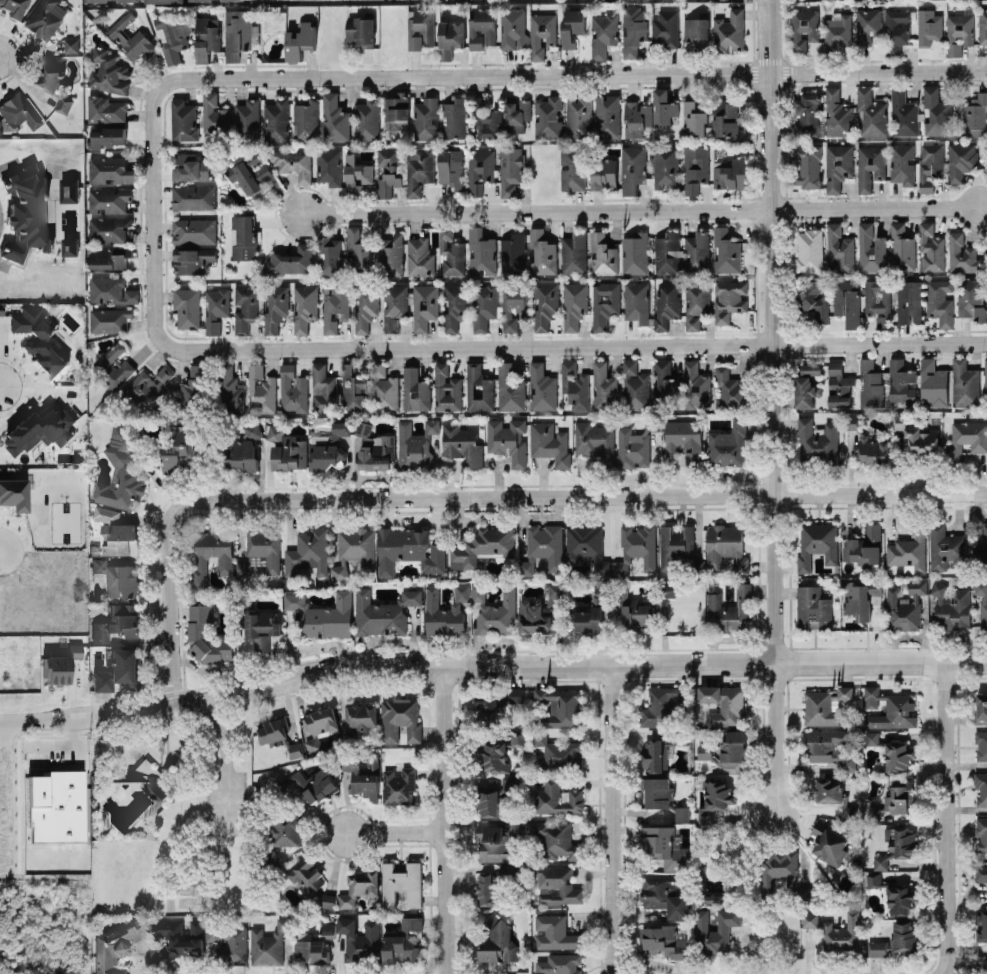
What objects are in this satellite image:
building: (109, 0)
building: (163, 0)
building: (223, 0)
building: (14, 7)
building: (46, 17)
building: (867, 24)
building: (983, 25)
building: (419, 26)
building: (928, 26)
building: (482, 27)
building: (512, 27)
building: (570, 27)
building: (694, 27)
building: (632, 28)
building: (665, 28)
building: (803, 28)
building: (730, 29)
building: (896, 29)
building: (360, 30)
building: (838, 31)
building: (959, 31)
building: (542, 32)
building: (603, 33)
building: (237, 34)
building: (450, 36)
building: (131, 37)
building: (171, 39)
building: (205, 39)
building: (299, 40)
building: (70, 44)
building: (108, 72)
road: (575, 74)
building: (52, 84)
building: (663, 106)
building: (104, 108)
building: (19, 111)
building: (395, 112)
building: (515, 112)
building: (936, 112)
building: (870, 113)
building: (903, 113)
building: (214, 114)
building: (806, 114)
building: (837, 114)
building: (578, 115)
building: (975, 115)
building: (607, 116)
building: (724, 116)
building: (547, 117)
building: (694, 117)
building: (334, 118)
building: (454, 118)
building: (485, 118)
building: (636, 118)
building: (247, 119)
building: (277, 119)
building: (367, 119)
building: (425, 119)
building: (183, 120)
building: (305, 120)
building: (0, 126)
building: (105, 136)
building: (960, 159)
building: (292, 163)
building: (884, 164)
building: (329, 165)
building: (807, 165)
building: (837, 165)
building: (929, 165)
building: (190, 166)
building: (632, 166)
building: (666, 166)
building: (450, 167)
building: (510, 167)
building: (571, 167)
building: (695, 167)
building: (480, 168)
building: (109, 169)
building: (419, 169)
building: (387, 170)
building: (602, 170)
building: (250, 172)
building: (730, 172)
building: (355, 175)
building: (68, 189)
building: (193, 196)
building: (108, 198)
road: (642, 209)
building: (25, 212)
road: (154, 212)
building: (109, 228)
building: (193, 230)
building: (243, 235)
building: (69, 245)
building: (839, 247)
building: (901, 247)
building: (930, 247)
building: (725, 249)
building: (870, 249)
building: (808, 250)
building: (480, 251)
building: (665, 251)
building: (357, 252)
building: (450, 252)
building: (542, 252)
building: (573, 252)
building: (633, 252)
building: (696, 252)
building: (512, 253)
building: (602, 253)
building: (961, 253)
building: (390, 255)
building: (329, 256)
building: (419, 256)
building: (106, 258)
building: (190, 259)
building: (292, 259)
building: (111, 289)
building: (728, 298)
building: (813, 299)
building: (696, 300)
building: (635, 301)
building: (877, 301)
building: (908, 301)
building: (939, 301)
building: (574, 302)
building: (846, 302)
building: (424, 304)
building: (454, 304)
building: (545, 304)
building: (604, 304)
building: (666, 304)
building: (274, 305)
building: (304, 305)
building: (334, 305)
building: (394, 305)
building: (186, 306)
building: (245, 306)
building: (363, 306)
building: (484, 306)
building: (216, 308)
building: (979, 313)
building: (109, 318)
building: (38, 340)
road: (575, 344)
building: (112, 367)
building: (985, 376)
building: (901, 381)
building: (964, 383)
building: (870, 384)
building: (933, 384)
building: (574, 385)
building: (695, 385)
building: (838, 385)
building: (150, 386)
building: (603, 386)
building: (635, 386)
building: (665, 386)
building: (806, 386)
building: (193, 387)
building: (541, 387)
building: (262, 388)
building: (323, 388)
building: (352, 388)
building: (446, 388)
building: (478, 388)
building: (509, 388)
building: (292, 389)
building: (383, 389)
building: (729, 389)
building: (230, 390)
building: (415, 390)
road: (775, 403)
building: (850, 421)
road: (207, 424)
building: (252, 429)
building: (39, 430)
building: (817, 438)
building: (966, 438)
building: (508, 439)
building: (684, 439)
building: (594, 440)
building: (921, 440)
building: (549, 442)
building: (461, 443)
building: (417, 444)
building: (727, 444)
building: (179, 448)
building: (327, 448)
building: (632, 448)
building: (286, 449)
building: (872, 449)
building: (376, 452)
building: (242, 455)
building: (14, 494)
road: (582, 496)
building: (105, 513)
building: (119, 538)
building: (984, 542)
building: (675, 544)
building: (817, 544)
building: (863, 544)
building: (483, 546)
building: (586, 546)
building: (265, 547)
building: (542, 547)
building: (636, 547)
building: (726, 547)
building: (946, 548)
building: (408, 549)
building: (908, 549)
building: (354, 550)
road: (1, 551)
building: (212, 551)
building: (307, 553)
building: (244, 567)
building: (117, 578)
building: (666, 589)
building: (461, 591)
building: (862, 599)
building: (982, 601)
road: (171, 605)
building: (904, 606)
building: (950, 606)
building: (812, 607)
building: (729, 609)
building: (495, 610)
building: (539, 611)
building: (591, 611)
building: (383, 612)
building: (637, 613)
building: (323, 614)
building: (441, 614)
building: (116, 622)
building: (261, 628)
building: (205, 636)
road: (490, 665)
building: (119, 671)
building: (496, 704)
building: (660, 705)
building: (825, 705)
building: (560, 707)
building: (981, 708)
building: (889, 709)
building: (362, 715)
building: (399, 719)
building: (320, 725)
building: (273, 729)
road: (6, 733)
building: (517, 737)
building: (871, 737)
building: (981, 745)
building: (828, 747)
road: (69, 748)
building: (295, 749)
building: (727, 750)
building: (660, 751)
building: (557, 753)
building: (494, 756)
building: (898, 756)
road: (225, 765)
building: (143, 777)
building: (362, 778)
building: (312, 784)
building: (399, 785)
building: (981, 787)
building: (828, 788)
building: (656, 791)
building: (717, 793)
building: (557, 798)
building: (895, 798)
building: (487, 802)
building: (57, 806)
building: (682, 813)
building: (708, 816)
road: (616, 818)
road: (944, 818)
road: (448, 819)
building: (516, 828)
building: (285, 829)
road: (397, 830)
building: (981, 834)
building: (555, 839)
building: (901, 842)
building: (492, 843)
building: (829, 844)
building: (665, 846)
building: (880, 861)
building: (779, 867)
building: (980, 872)
building: (307, 876)
building: (873, 879)
building: (402, 883)
building: (557, 884)
building: (359, 888)
building: (486, 890)
building: (664, 893)
building: (712, 898)
building: (900, 899)
building: (327, 900)
building: (411, 922)
building: (984, 927)
building: (327, 929)
building: (837, 930)
building: (716, 931)
building: (555, 932)
building: (181, 933)
building: (359, 939)
building: (499, 939)
building: (895, 939)
building: (663, 940)
building: (228, 943)
building: (268, 943)
building: (116, 944)
building: (400, 947)
building: (310, 950)
building: (560, 963)
building: (986, 966)
road: (621, 973)

